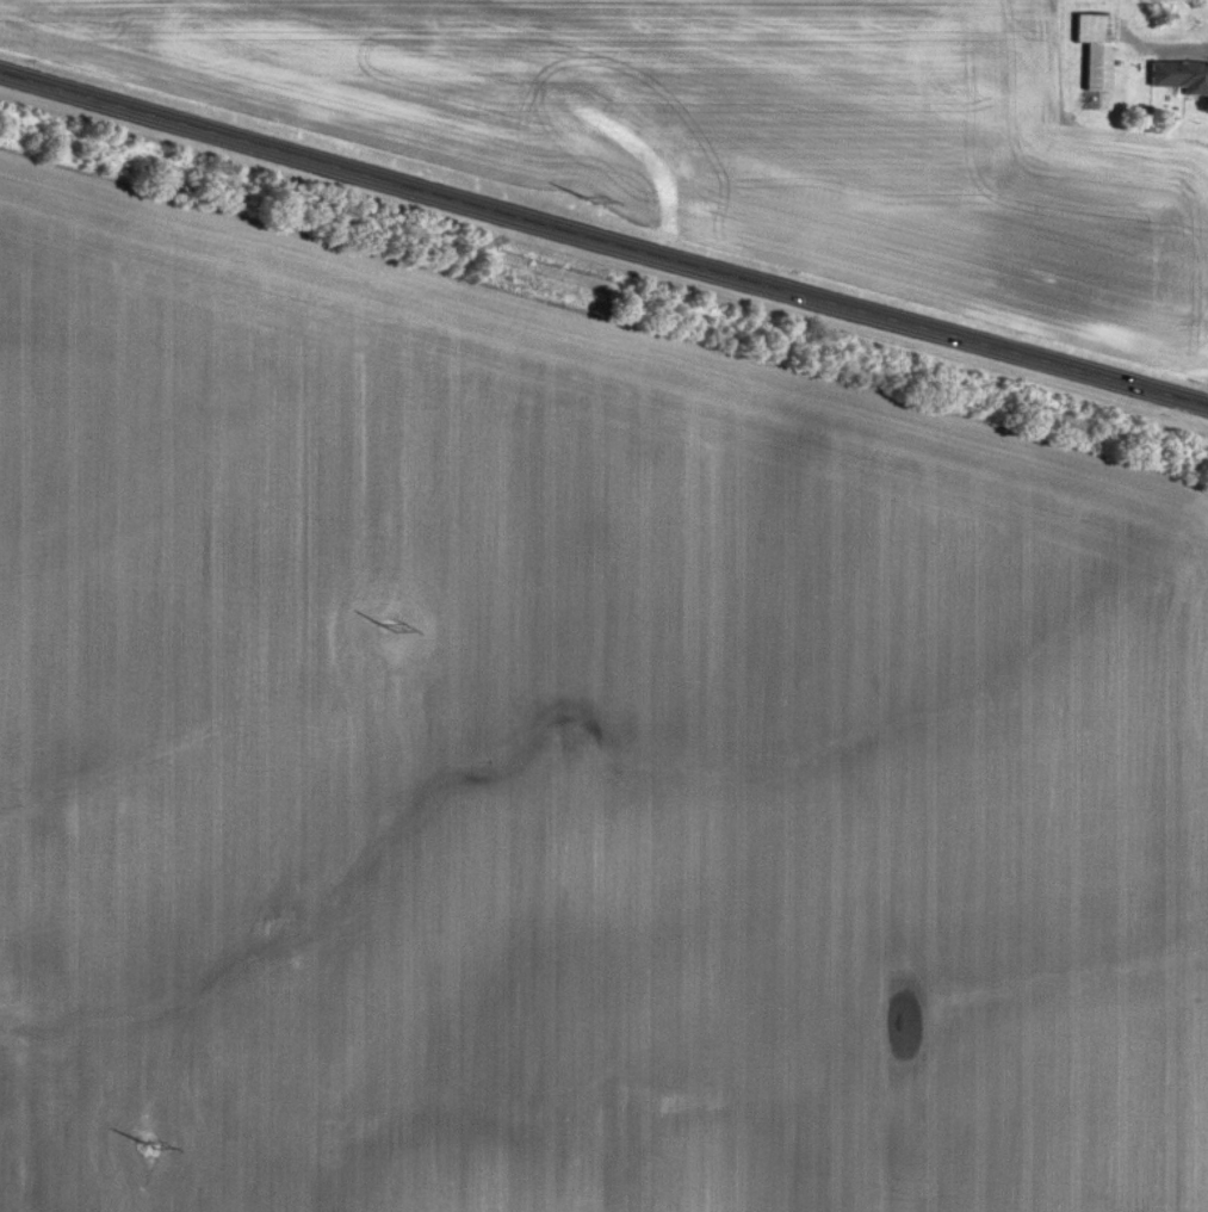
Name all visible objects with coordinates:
building: (1095, 50)
building: (1179, 78)
power tower: (590, 202)
road: (602, 241)
power tower: (388, 627)
power tower: (150, 1148)

